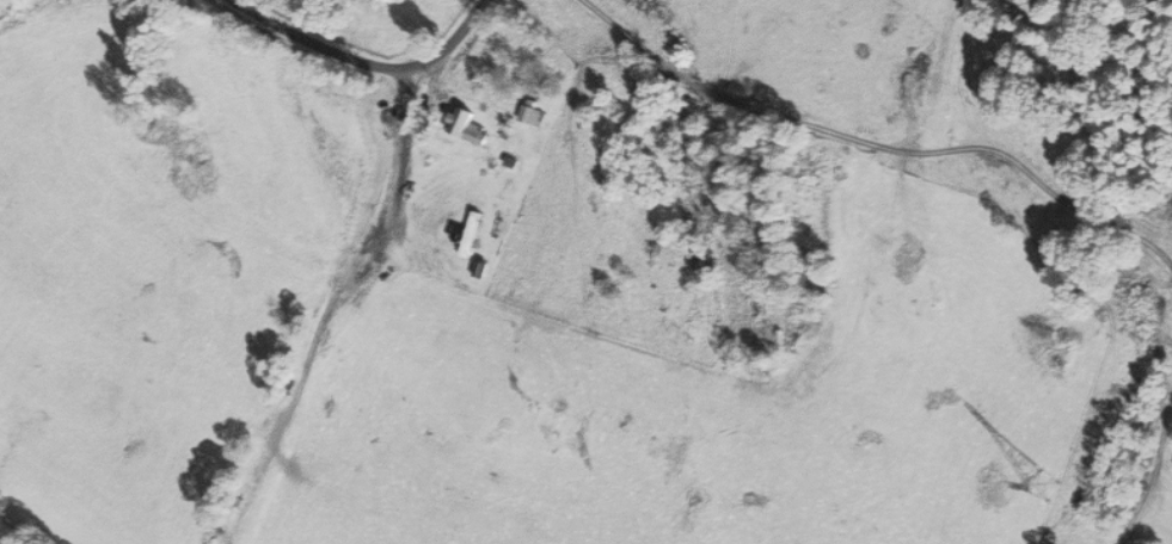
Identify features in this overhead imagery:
road: (372, 66)
building: (532, 115)
building: (468, 125)
road: (879, 144)
road: (395, 157)
building: (470, 233)
road: (1154, 475)
power tower: (1026, 487)

